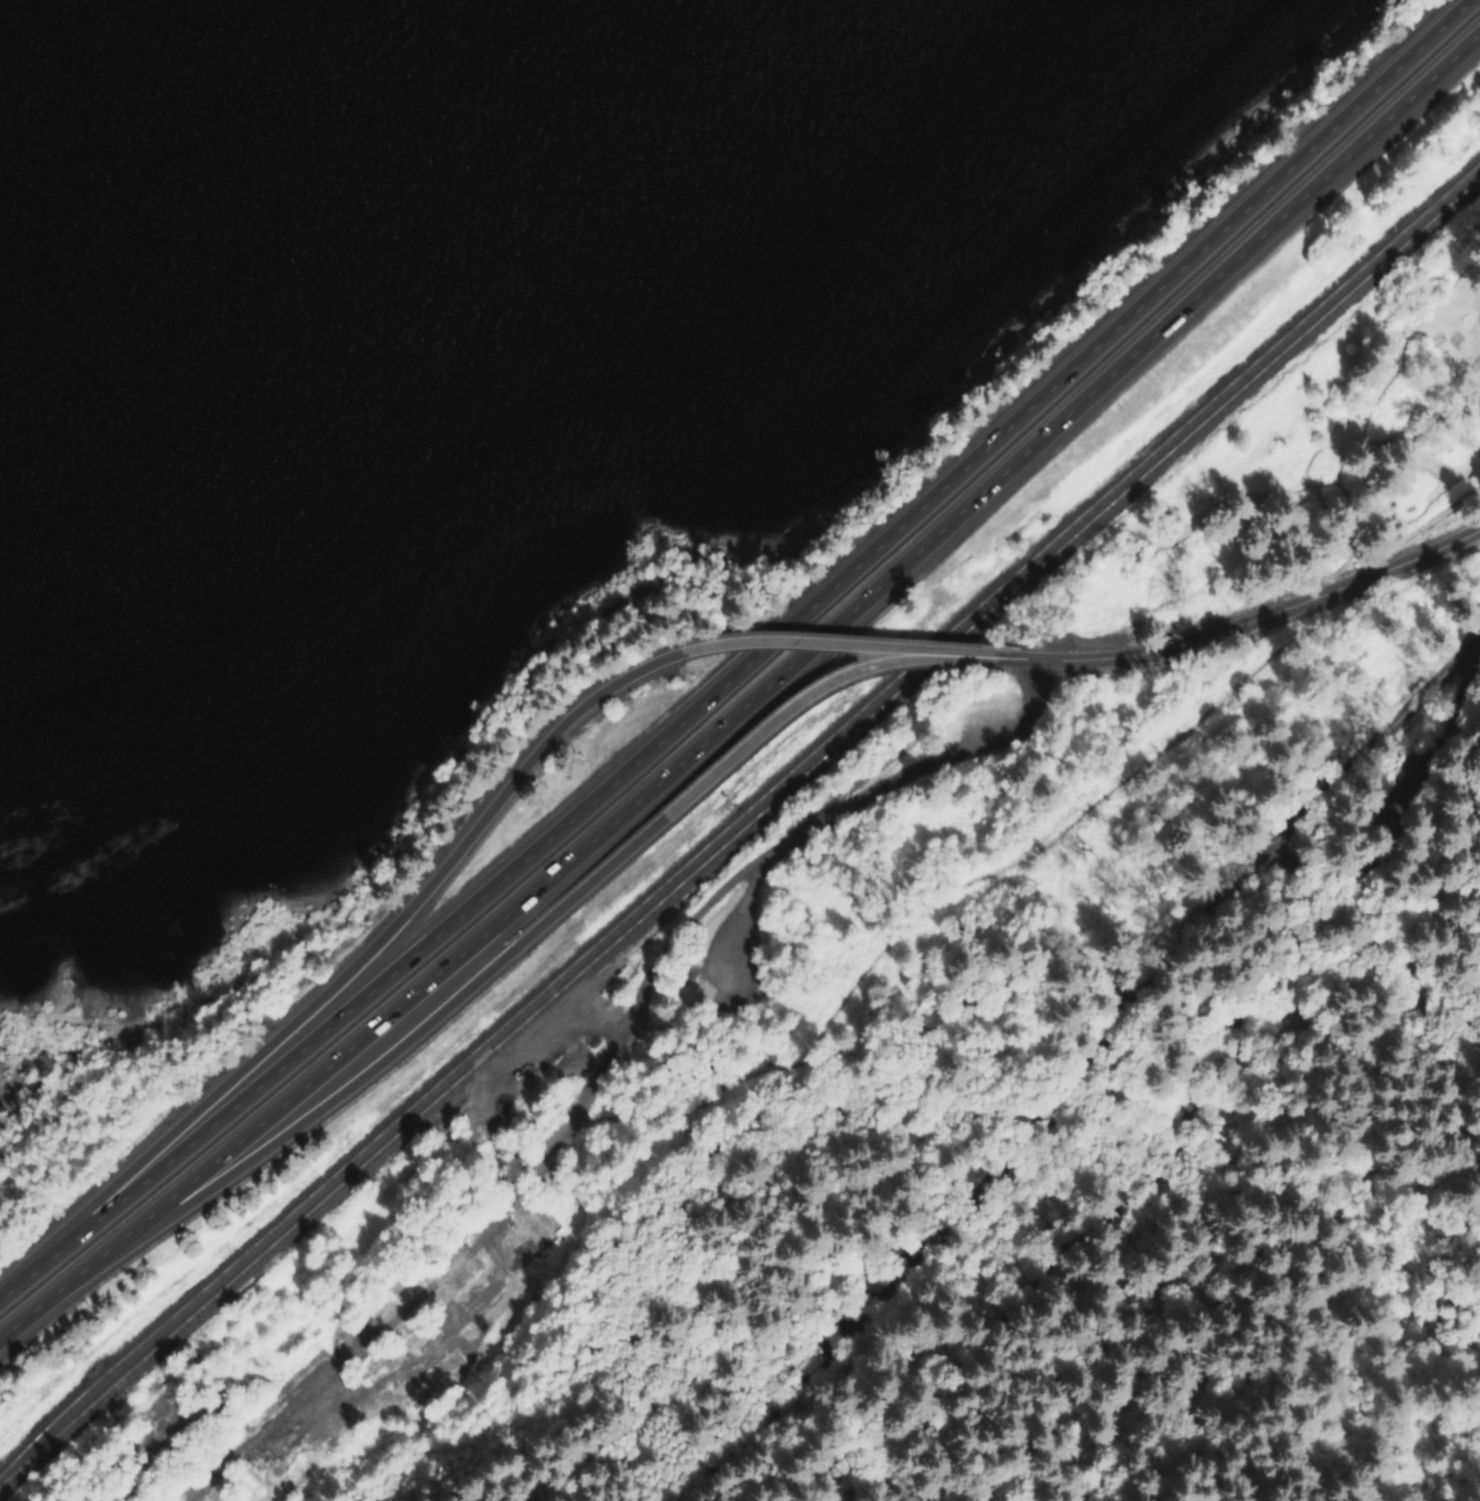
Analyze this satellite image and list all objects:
building: (1099, 614)
road: (1265, 620)
road: (769, 640)
road: (977, 660)
road: (744, 661)
road: (1024, 663)
road: (786, 669)
road: (751, 746)
road: (1446, 766)
road: (868, 796)
railway: (738, 820)
parking lot: (1350, 830)
road: (1361, 834)
railway: (738, 836)
road: (953, 899)
road: (1227, 945)
building: (690, 976)
road: (652, 980)
road: (334, 983)
road: (469, 1030)
road: (1078, 1069)
road: (331, 1088)
road: (1077, 1251)
road: (37, 1304)
road: (472, 1310)
road: (396, 1319)
road: (31, 1491)

